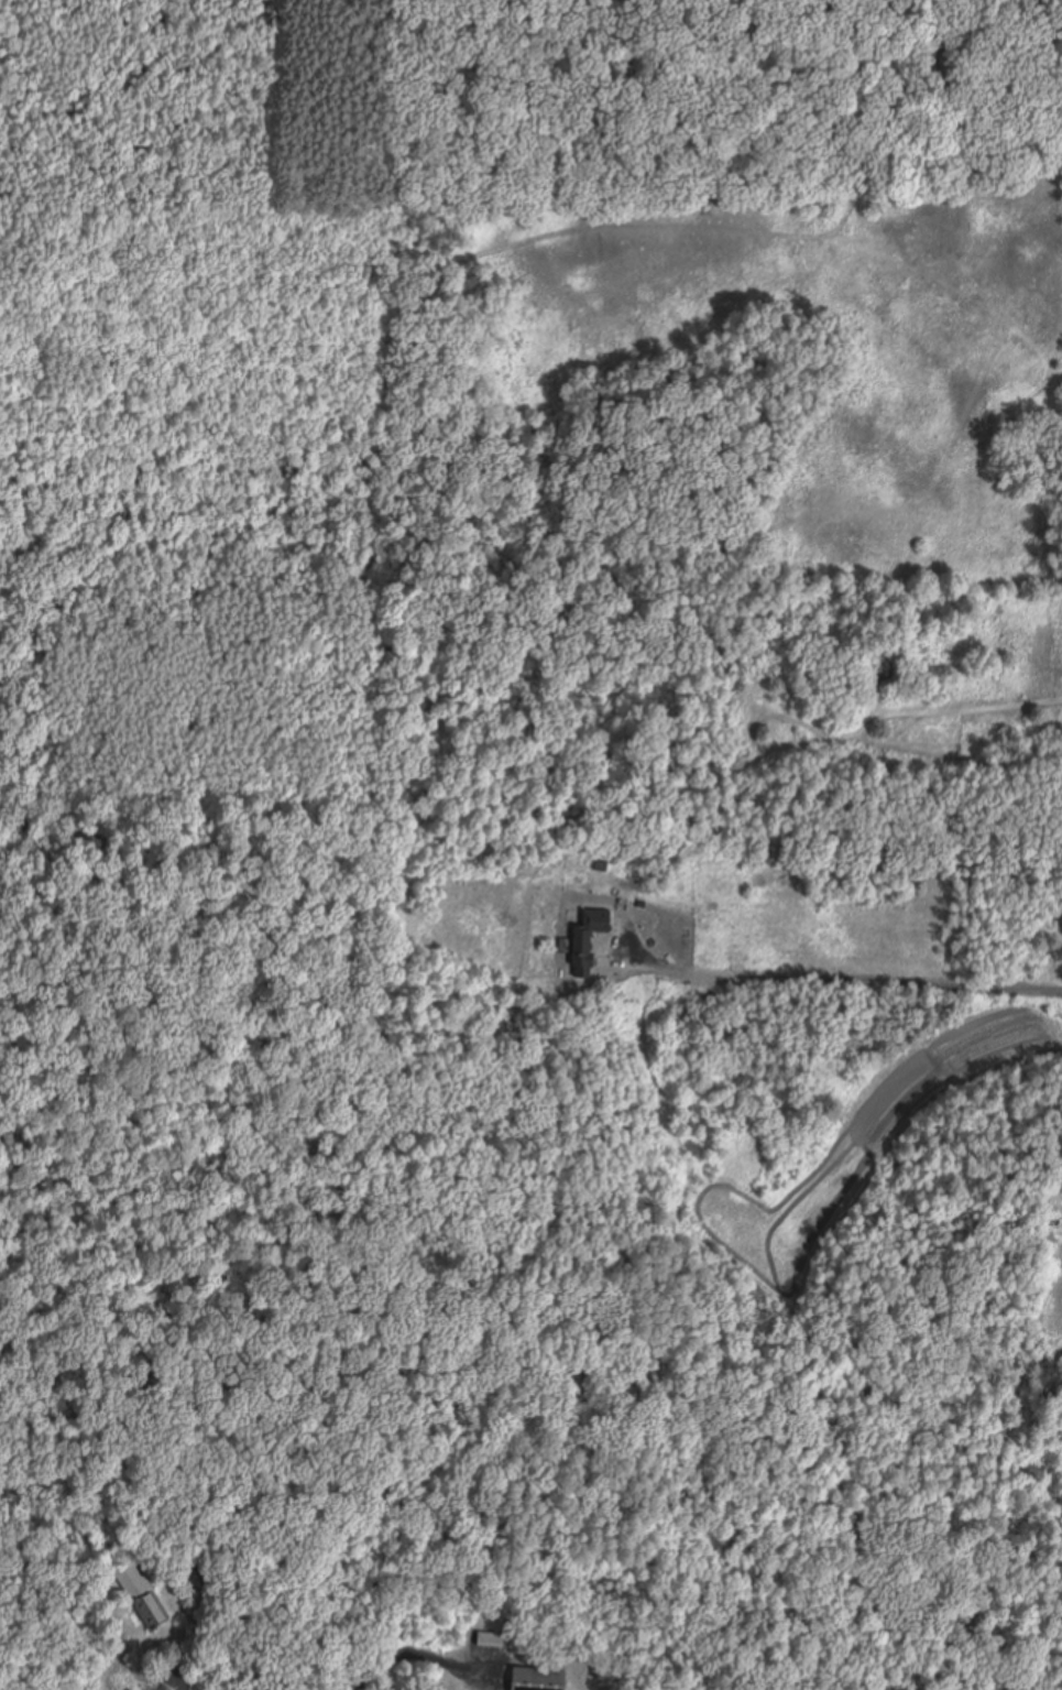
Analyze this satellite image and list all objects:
building: (585, 941)
road: (968, 966)
building: (138, 1595)
building: (534, 1680)

